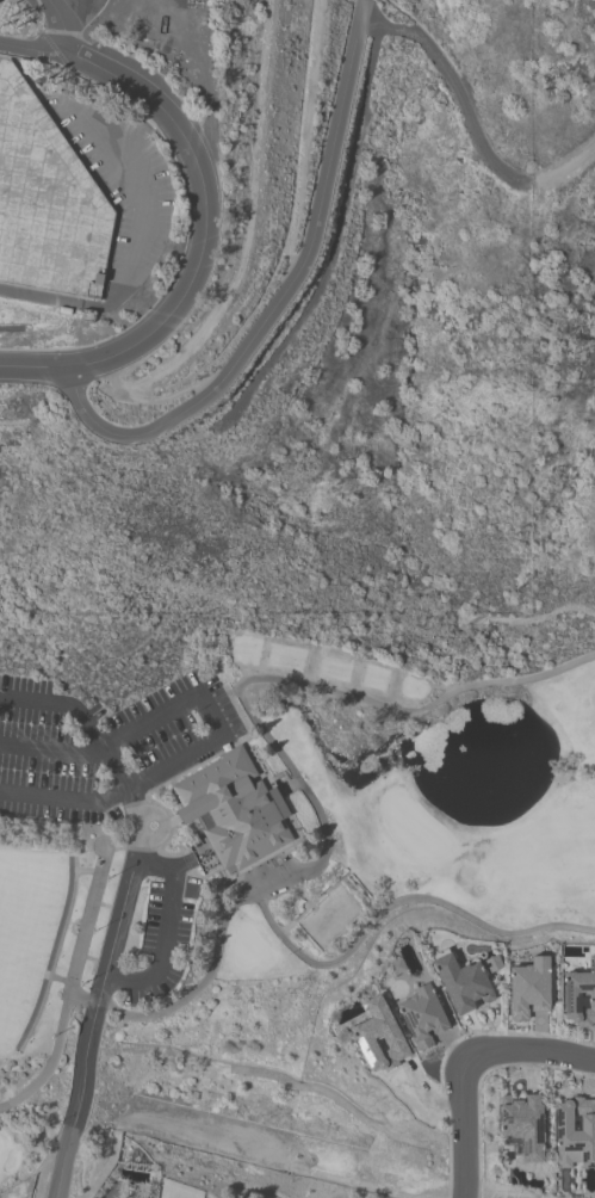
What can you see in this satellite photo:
road: (362, 17)
road: (55, 29)
road: (470, 124)
road: (198, 184)
building: (45, 204)
road: (273, 313)
road: (33, 371)
road: (222, 725)
road: (93, 736)
road: (279, 752)
building: (233, 815)
park: (271, 833)
road: (398, 902)
road: (167, 933)
building: (460, 983)
building: (529, 988)
building: (579, 996)
road: (97, 1012)
building: (422, 1017)
building: (378, 1038)
road: (448, 1049)
road: (185, 1051)
road: (531, 1051)
road: (482, 1079)
road: (372, 1122)
building: (522, 1126)
road: (465, 1128)
building: (575, 1134)
road: (106, 1168)
road: (43, 1174)

